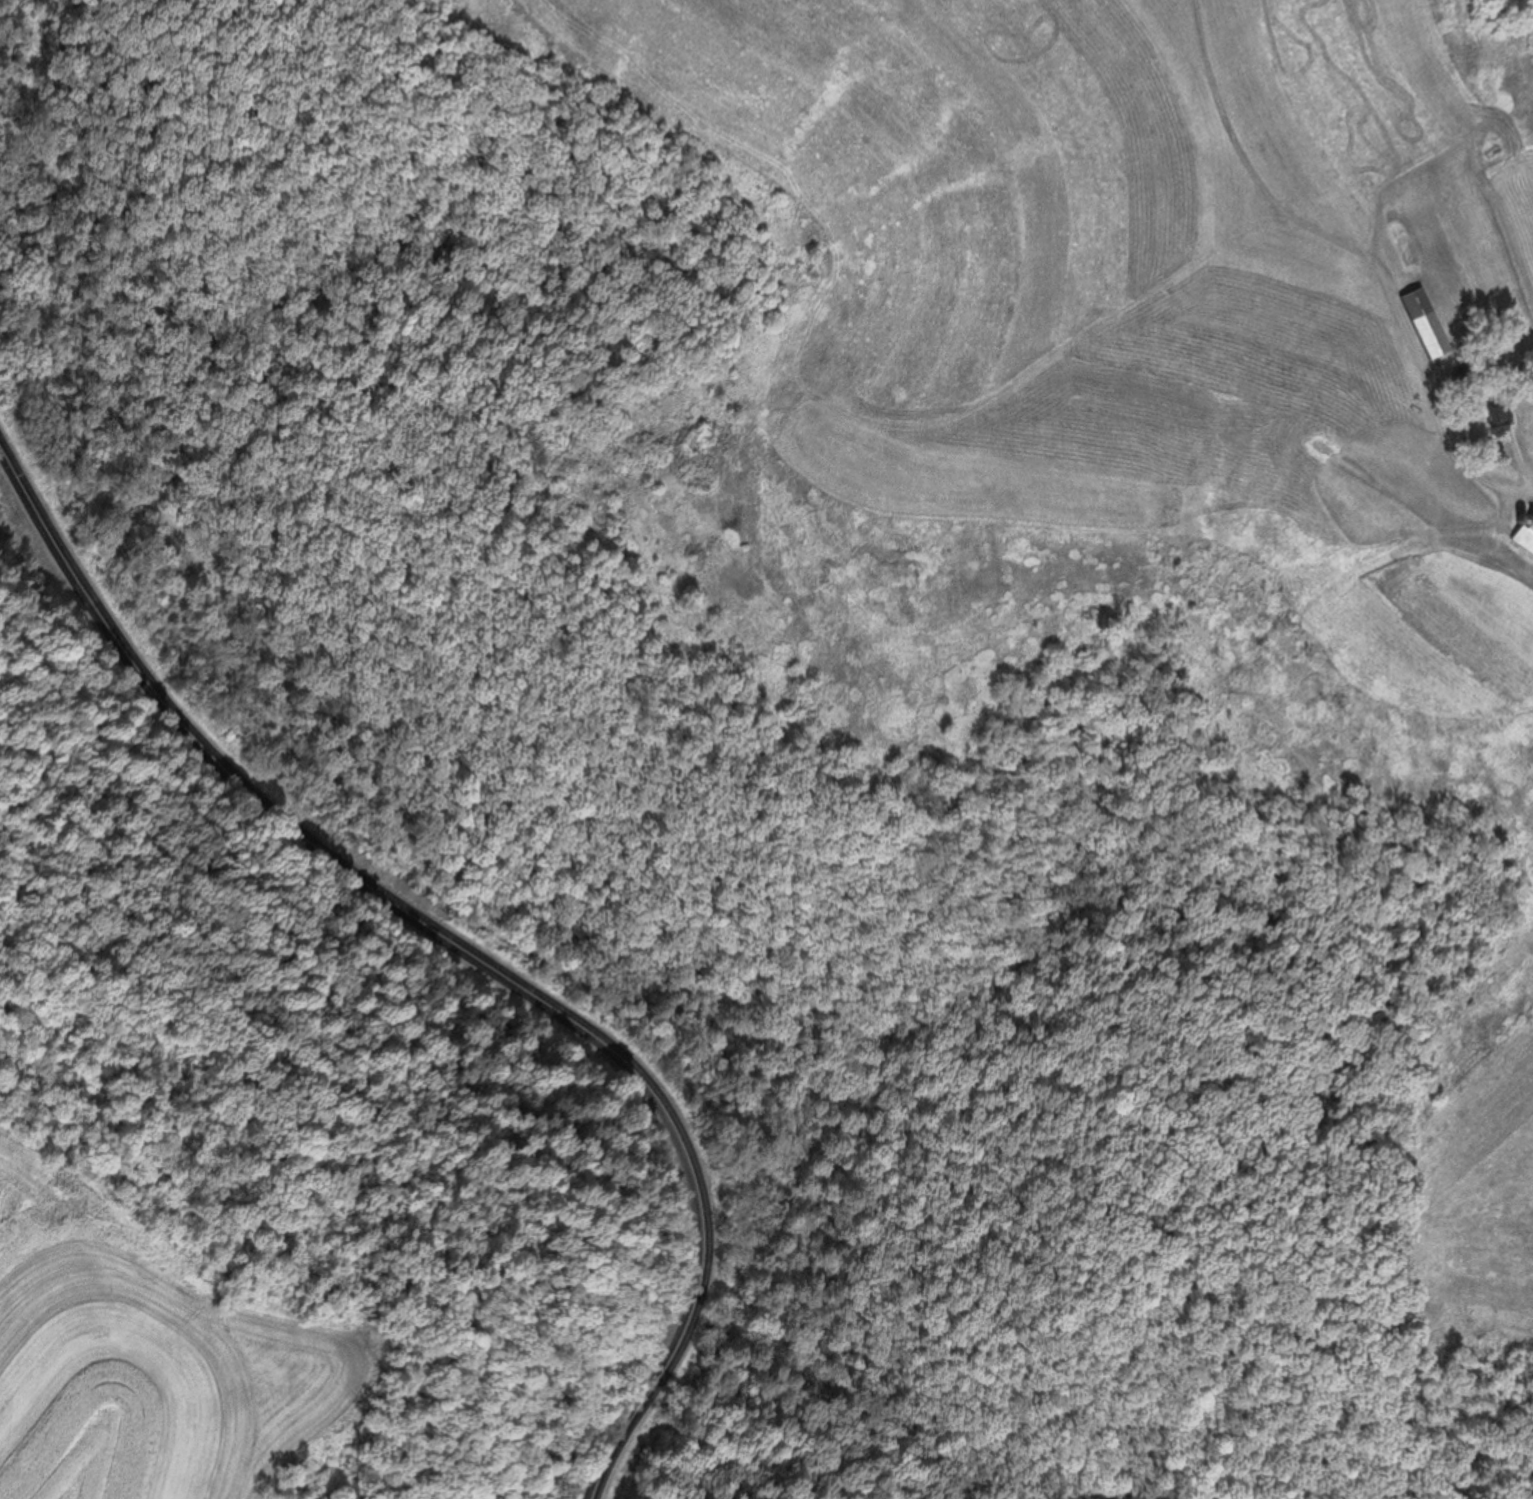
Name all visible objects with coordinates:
building: (1421, 321)
building: (1494, 417)
building: (1524, 532)
road: (454, 948)

